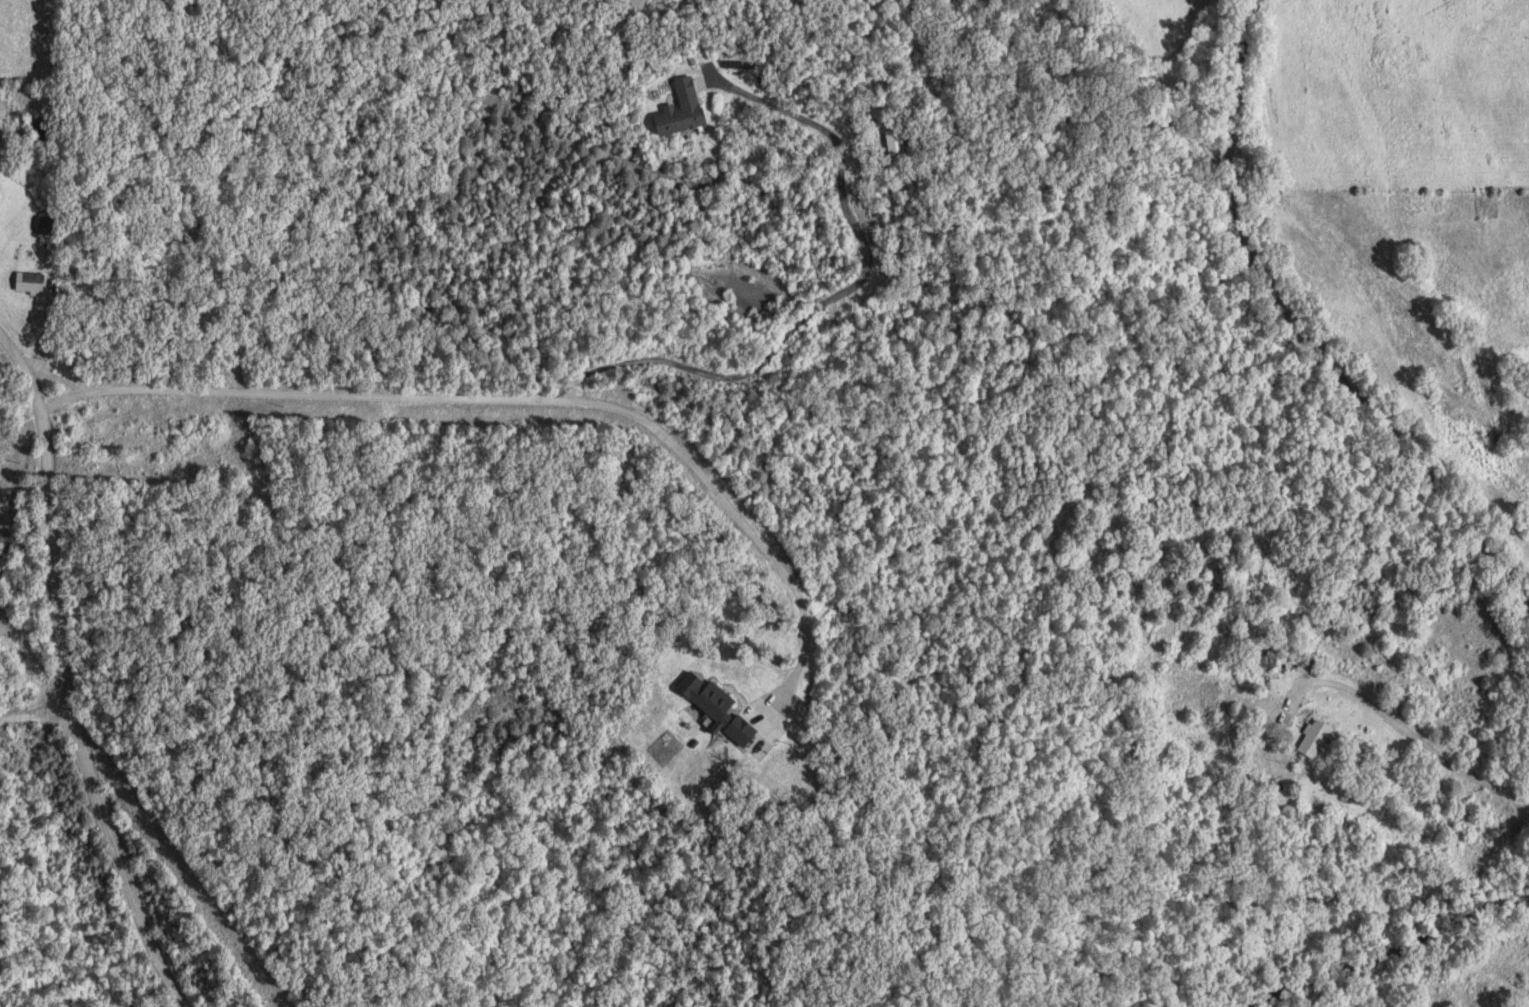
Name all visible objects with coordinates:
building: (674, 112)
building: (891, 145)
building: (43, 227)
building: (24, 284)
road: (825, 297)
building: (1458, 373)
road: (289, 394)
road: (729, 510)
building: (1263, 663)
road: (50, 685)
building: (709, 701)
building: (1311, 740)

